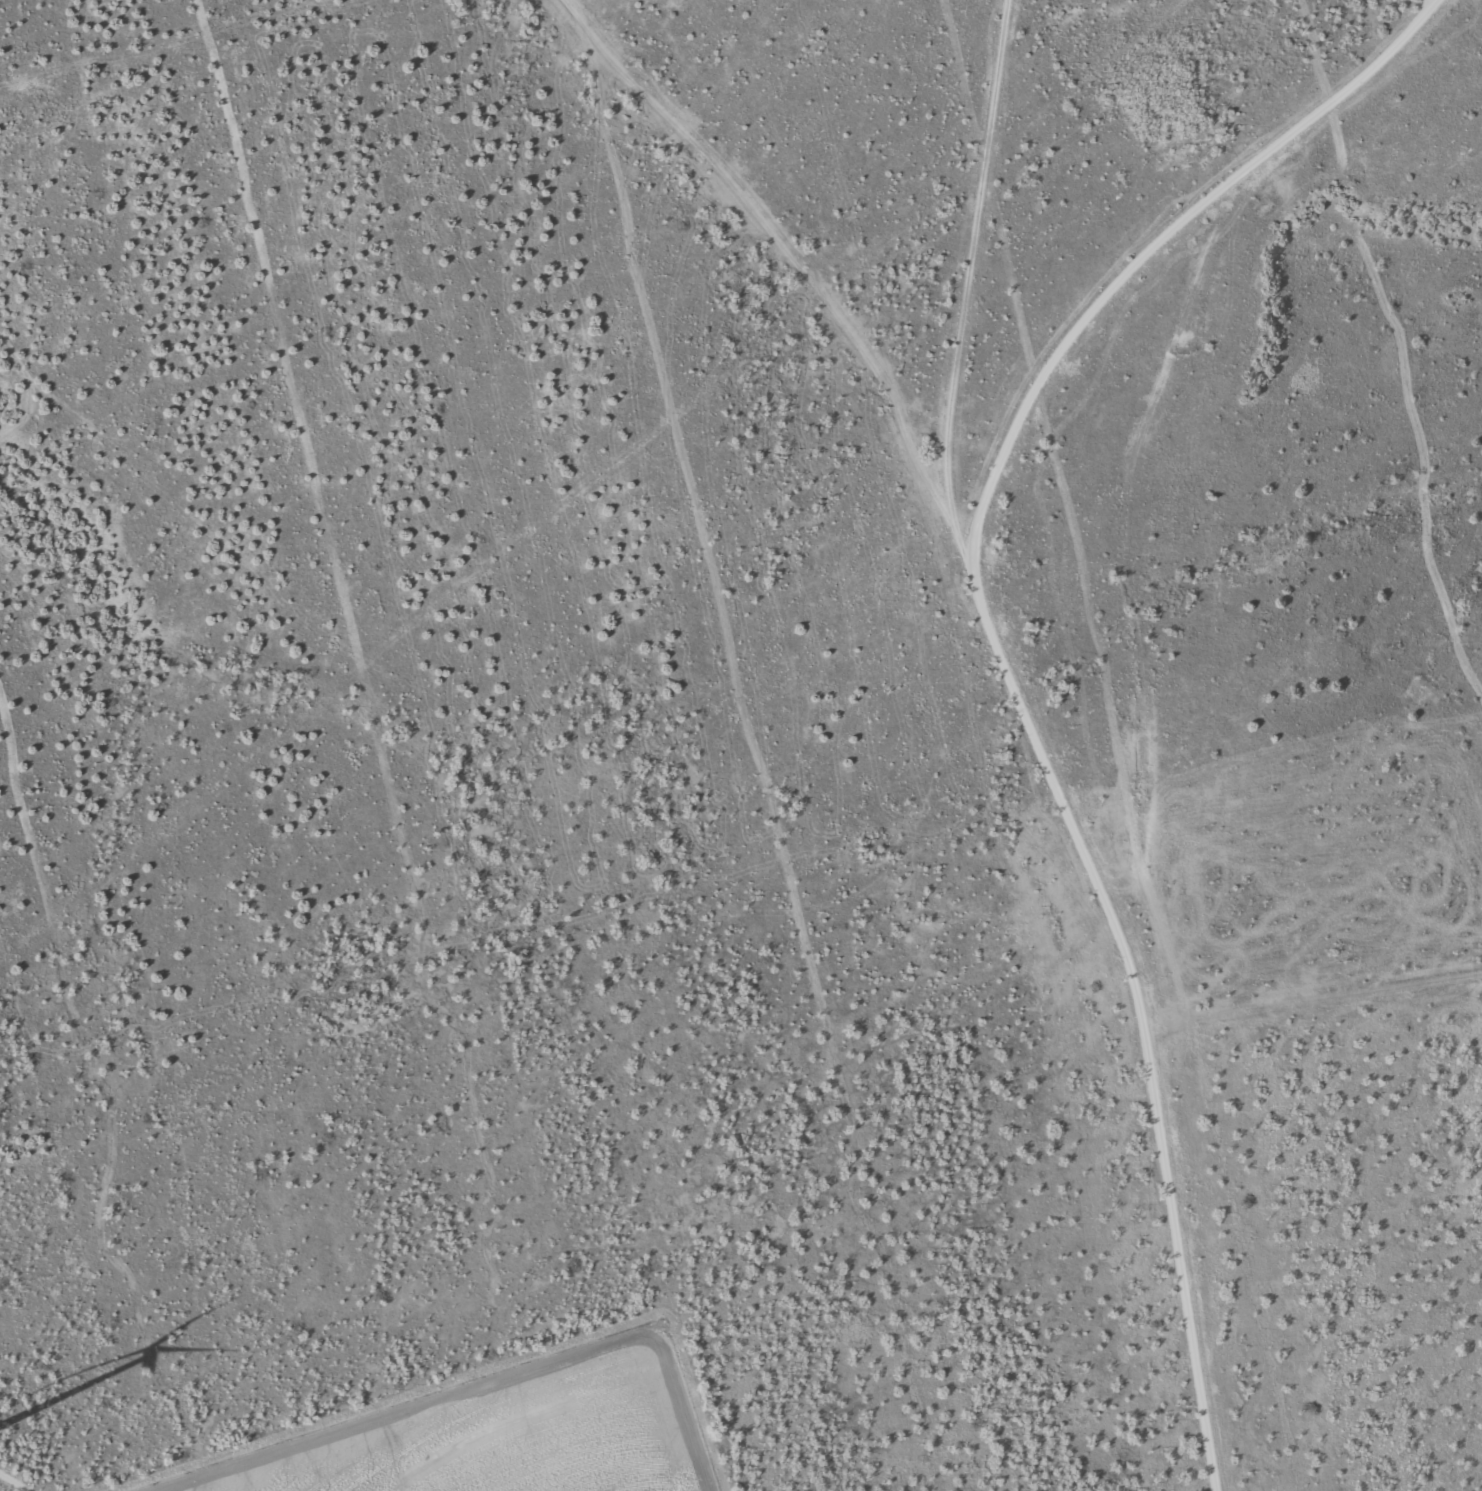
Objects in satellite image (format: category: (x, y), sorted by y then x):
road: (951, 239)
road: (1158, 380)
road: (994, 698)

